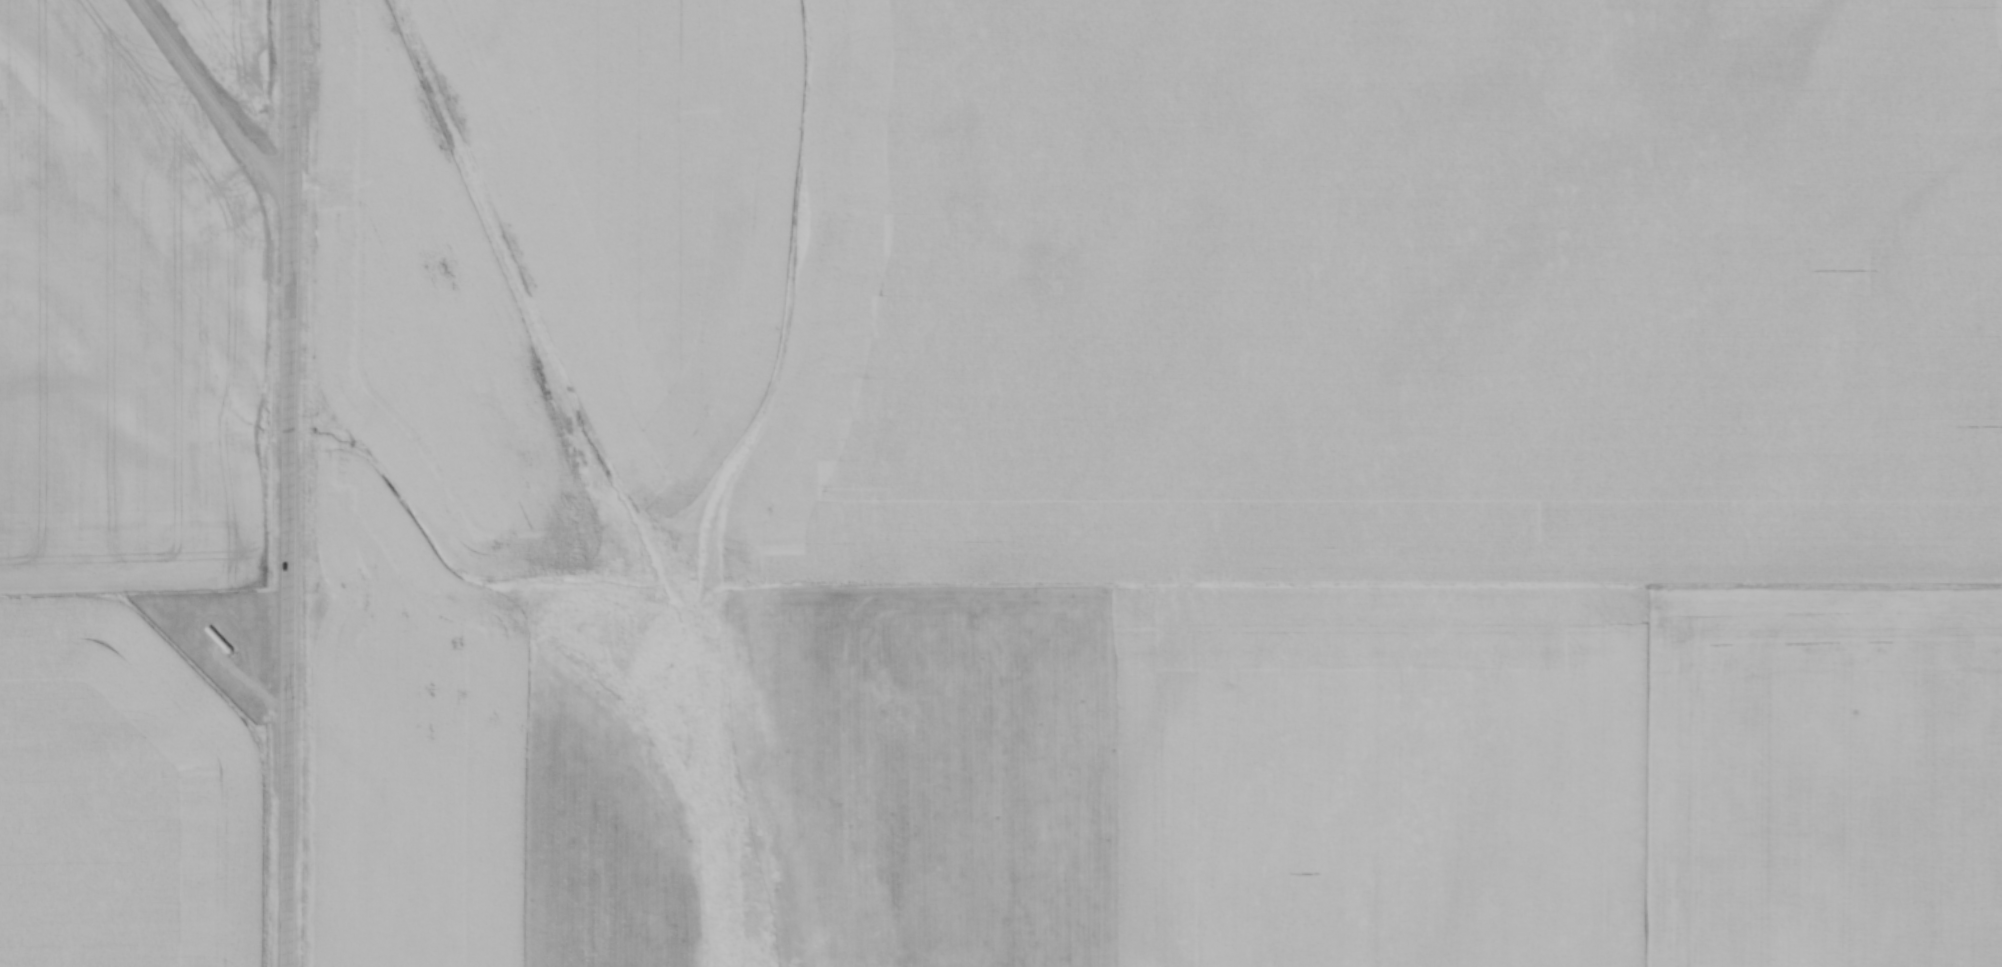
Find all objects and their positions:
road: (209, 102)
crop: (1601, 287)
road: (290, 483)
crop: (118, 800)

